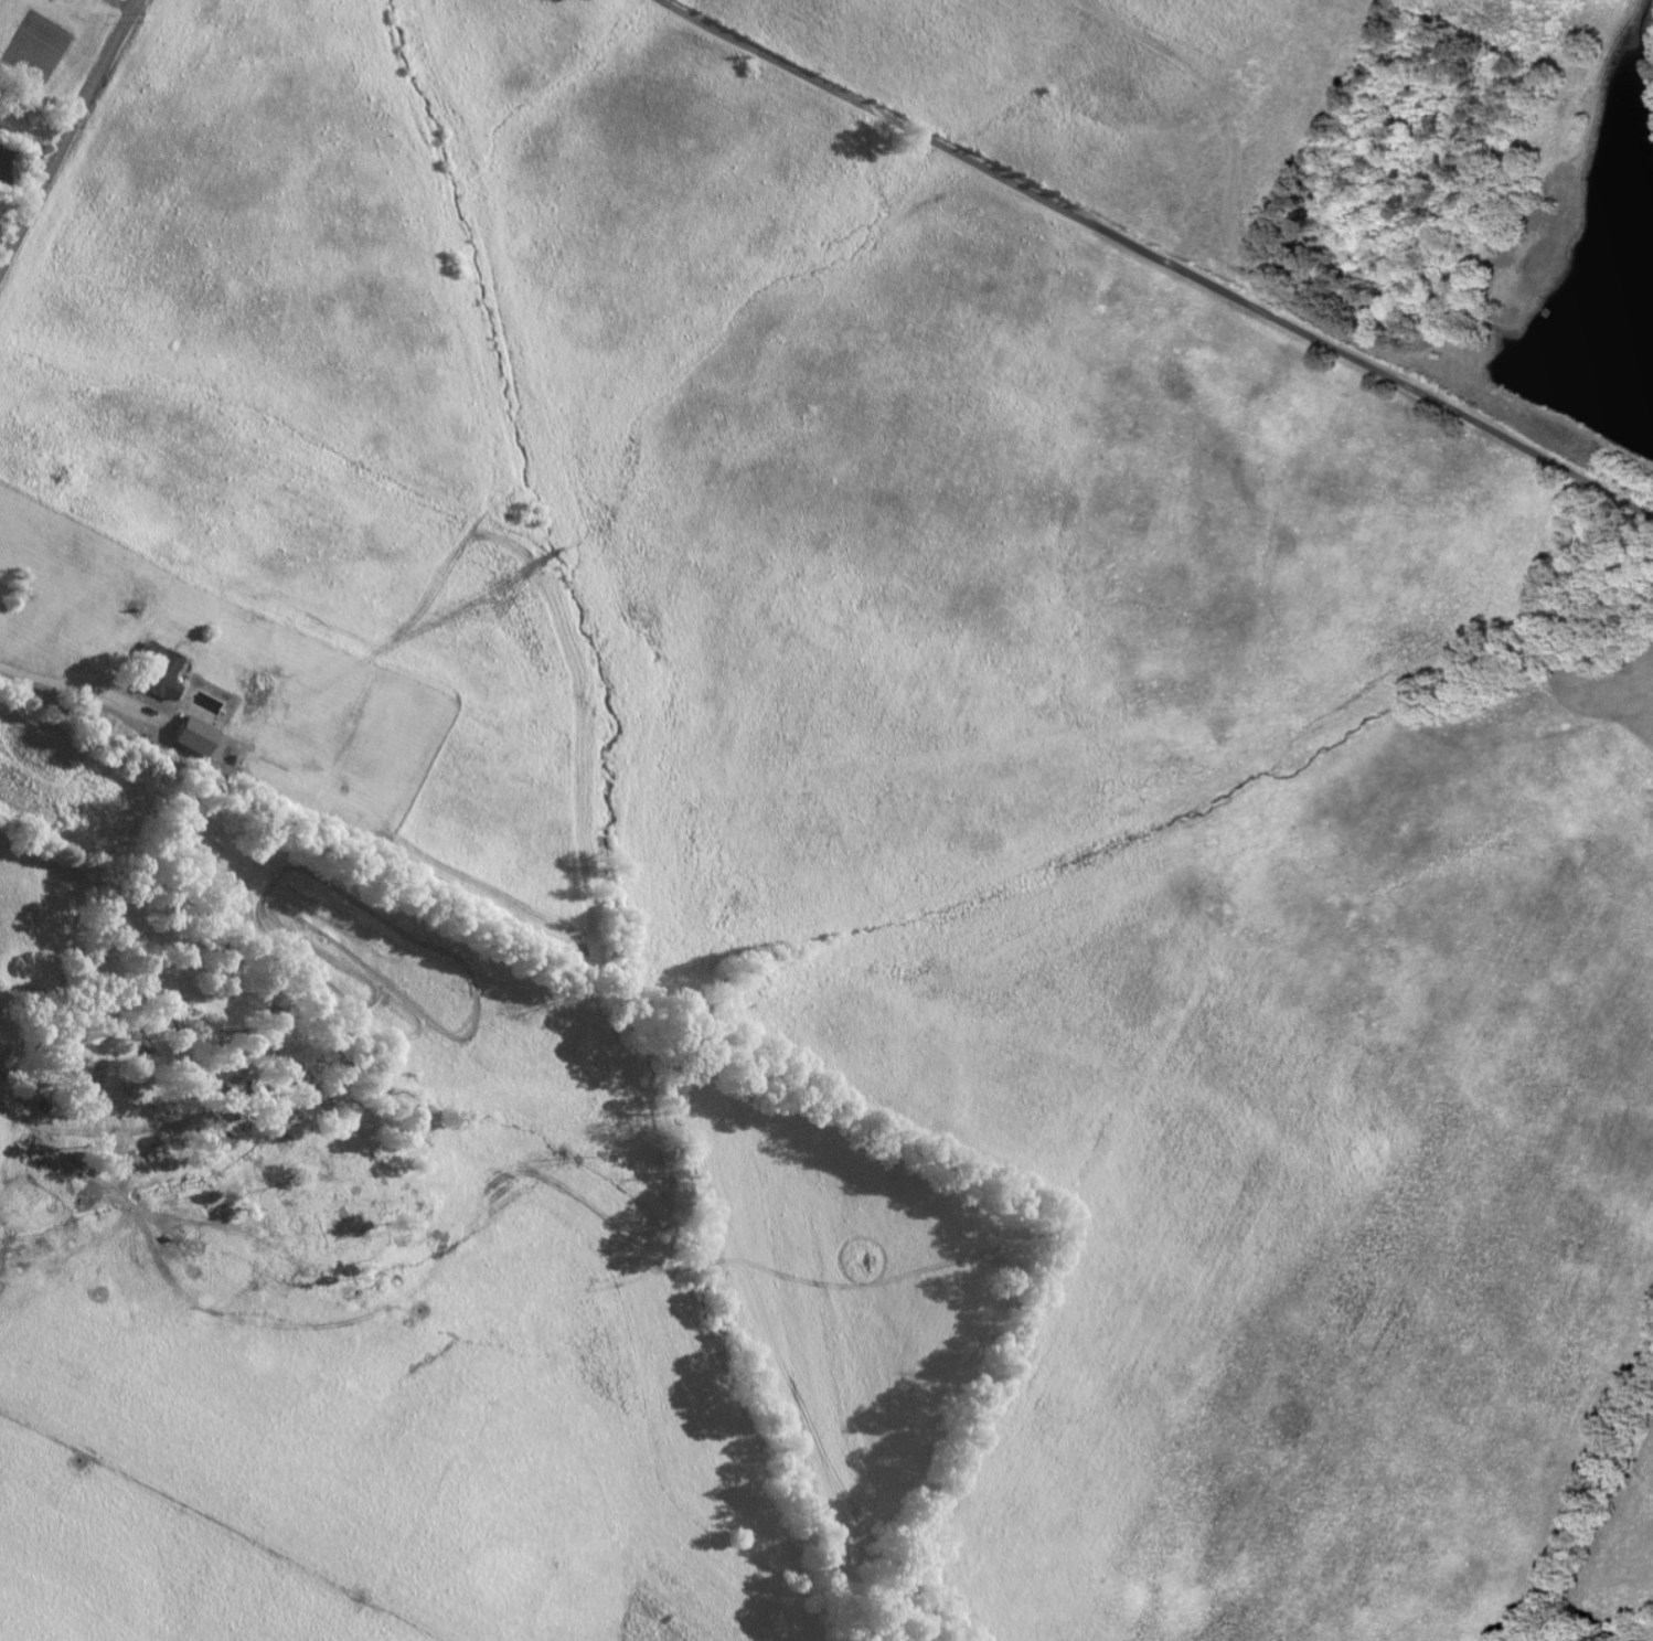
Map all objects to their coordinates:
road: (66, 130)
road: (1160, 257)
building: (162, 667)
road: (55, 681)
building: (195, 733)

